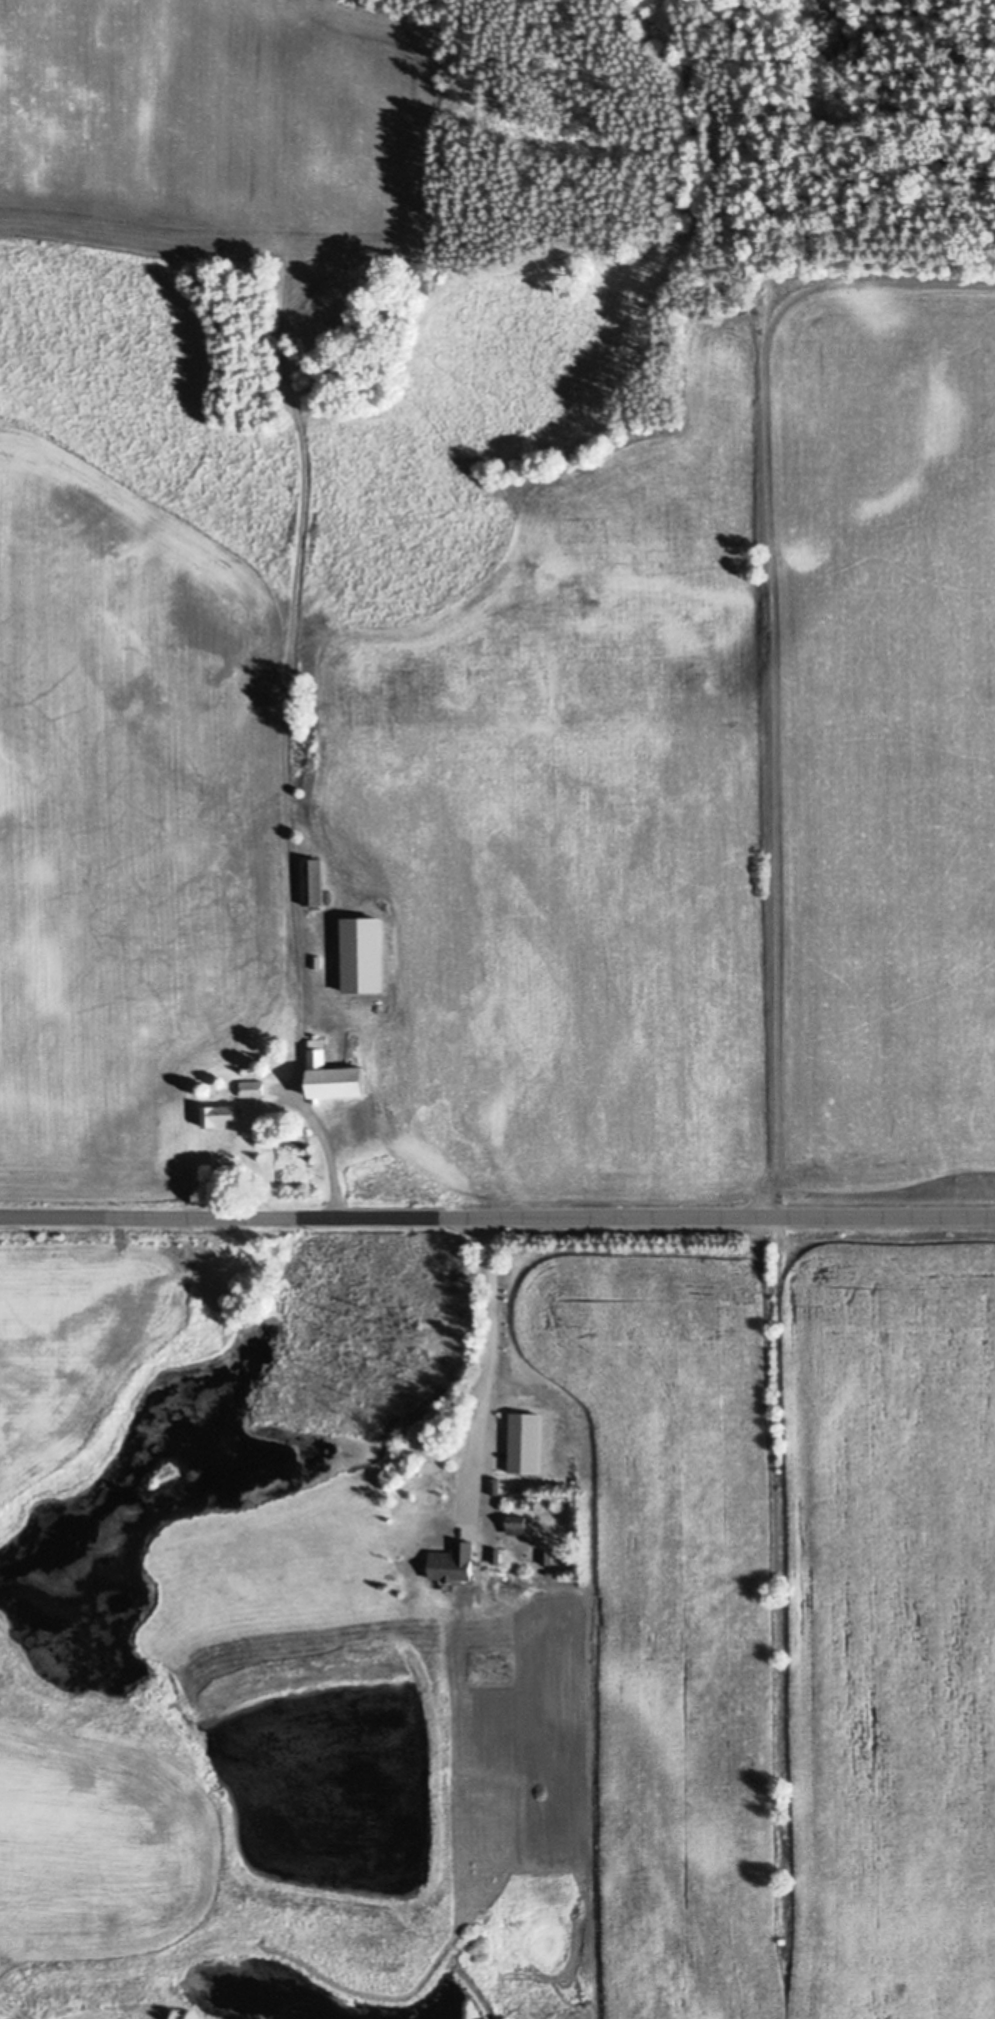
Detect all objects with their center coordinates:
building: (312, 882)
building: (335, 1076)
building: (252, 1089)
building: (220, 1116)
road: (327, 1154)
road: (497, 1216)
road: (490, 1344)
building: (526, 1443)
building: (518, 1524)
building: (454, 1563)

